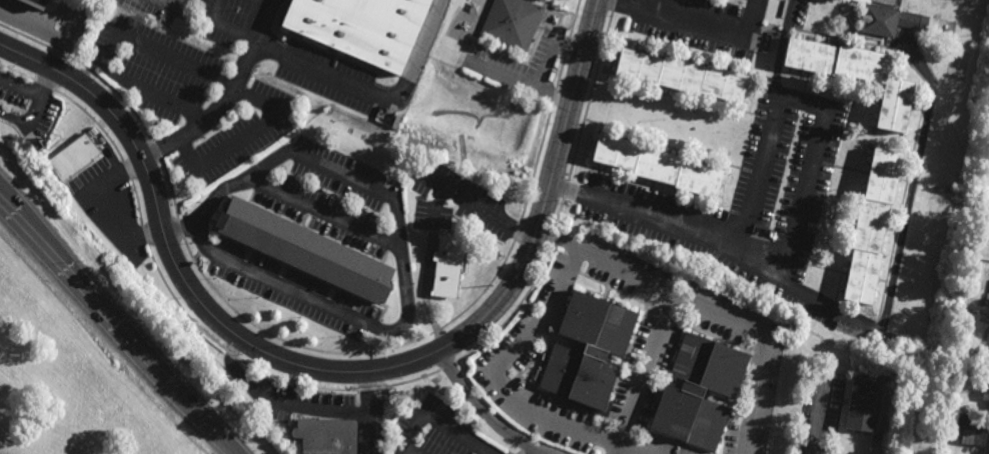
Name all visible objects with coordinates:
road: (266, 1)
building: (40, 2)
road: (160, 10)
building: (886, 21)
road: (697, 23)
building: (511, 24)
road: (222, 27)
building: (360, 28)
road: (44, 30)
road: (782, 47)
road: (552, 50)
road: (196, 69)
building: (680, 76)
building: (855, 76)
road: (520, 80)
road: (20, 87)
road: (376, 94)
road: (39, 97)
road: (228, 97)
road: (812, 102)
road: (14, 116)
building: (80, 154)
building: (658, 164)
road: (109, 205)
road: (476, 207)
road: (438, 209)
road: (324, 214)
building: (871, 223)
building: (305, 247)
road: (400, 249)
road: (606, 260)
building: (446, 262)
road: (120, 319)
road: (853, 320)
road: (763, 344)
building: (587, 348)
road: (338, 371)
road: (643, 373)
road: (498, 380)
building: (699, 390)
building: (985, 393)
road: (277, 401)
building: (863, 403)
building: (988, 408)
road: (366, 412)
road: (484, 412)
road: (820, 415)
road: (439, 421)
building: (326, 435)
building: (976, 437)
road: (410, 451)
road: (539, 452)

